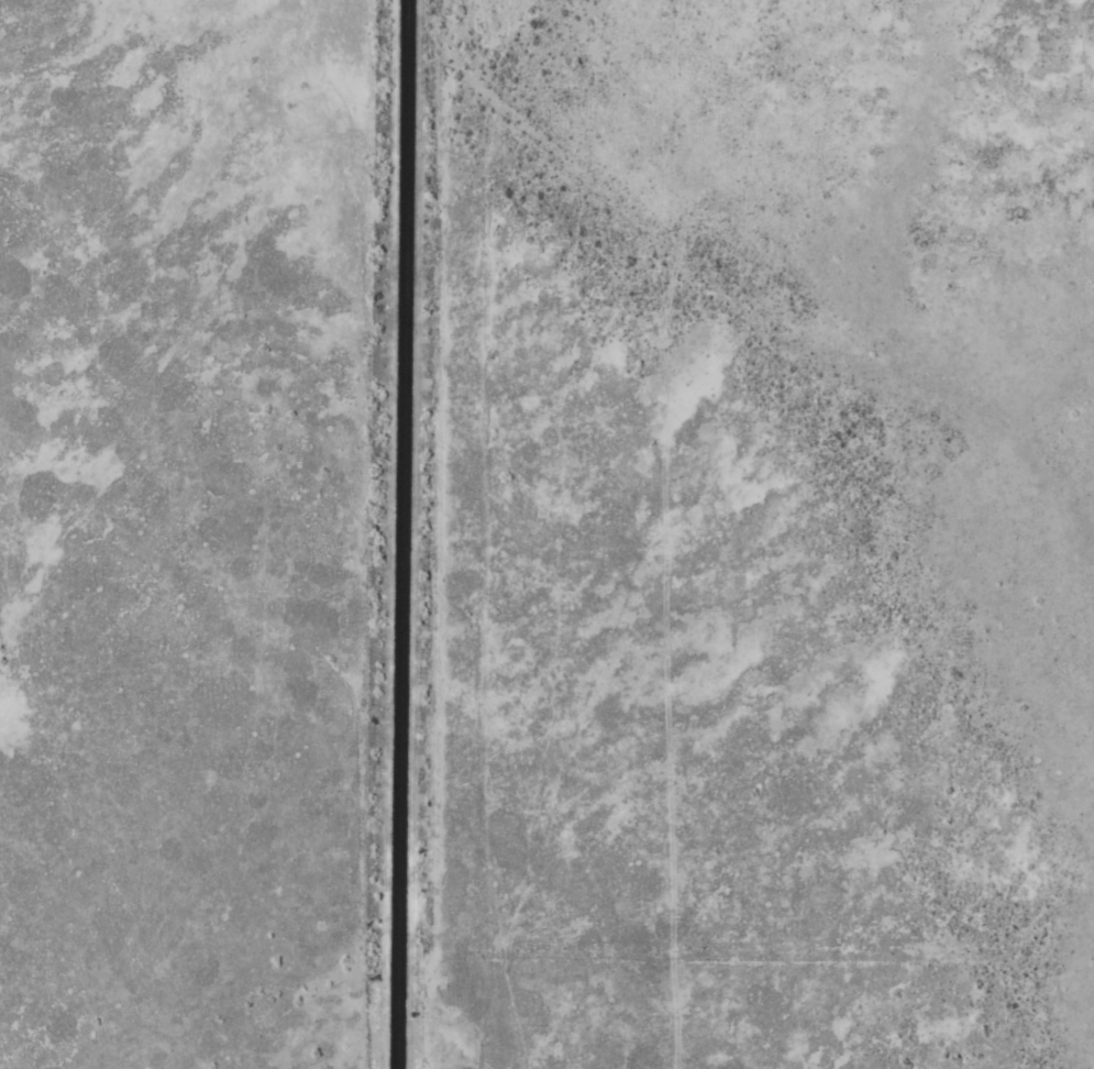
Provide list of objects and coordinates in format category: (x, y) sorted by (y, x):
road: (399, 534)

